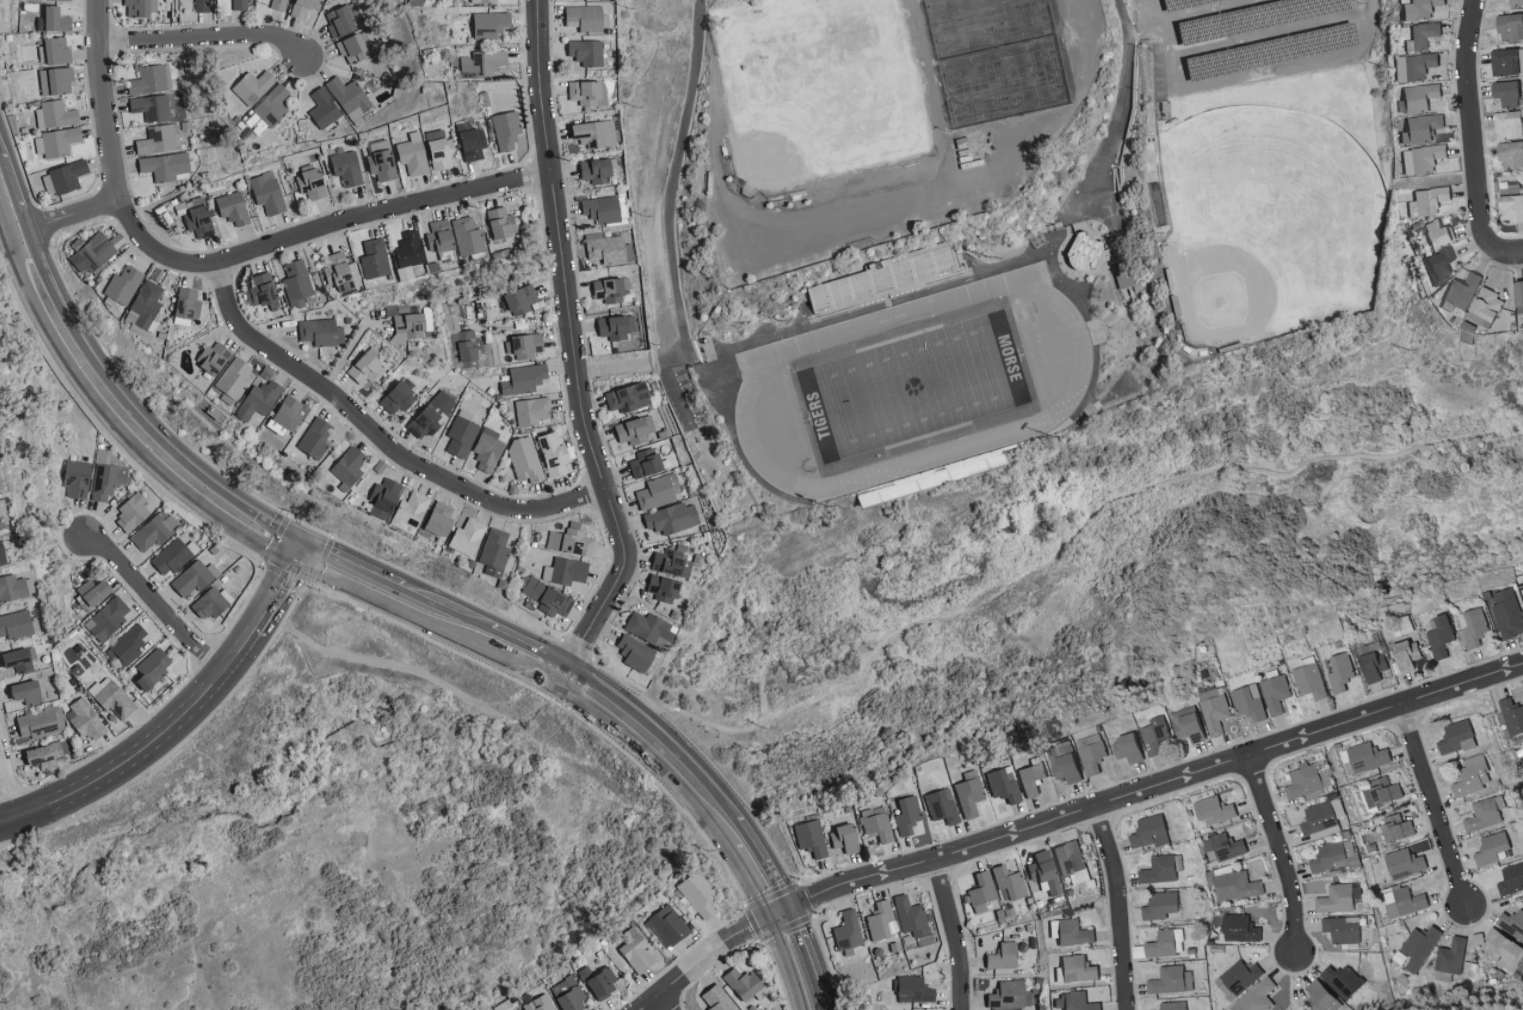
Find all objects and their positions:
building: (484, 1)
building: (1515, 2)
building: (239, 4)
building: (279, 4)
building: (202, 5)
road: (1370, 5)
building: (305, 6)
building: (141, 7)
building: (1418, 9)
building: (586, 18)
building: (57, 19)
building: (341, 21)
building: (491, 24)
building: (1509, 26)
building: (1423, 34)
road: (207, 36)
building: (354, 49)
building: (57, 50)
building: (587, 51)
building: (1503, 61)
building: (482, 63)
building: (1418, 65)
building: (149, 80)
building: (56, 81)
building: (253, 86)
park: (819, 91)
building: (588, 92)
building: (1505, 93)
building: (1417, 97)
building: (350, 99)
building: (273, 105)
road: (1121, 106)
building: (151, 107)
building: (323, 108)
building: (56, 114)
building: (1507, 124)
building: (1419, 128)
road: (1474, 128)
building: (506, 129)
building: (596, 133)
building: (159, 139)
building: (471, 139)
building: (56, 142)
building: (440, 149)
building: (413, 153)
building: (1509, 154)
building: (1421, 158)
building: (381, 160)
building: (165, 166)
building: (347, 167)
building: (597, 170)
building: (64, 178)
building: (312, 183)
building: (268, 192)
building: (1426, 201)
road: (8, 208)
building: (234, 208)
building: (1510, 208)
building: (601, 209)
road: (68, 215)
building: (196, 216)
road: (671, 218)
park: (1265, 220)
building: (501, 223)
building: (1434, 234)
building: (455, 238)
building: (605, 248)
building: (92, 252)
building: (409, 253)
building: (1085, 253)
road: (1508, 254)
road: (226, 257)
building: (374, 258)
building: (1437, 264)
building: (339, 272)
building: (1125, 279)
building: (297, 283)
building: (122, 287)
building: (610, 290)
building: (1461, 291)
building: (261, 292)
building: (1517, 299)
building: (520, 300)
building: (1484, 305)
building: (188, 306)
building: (145, 309)
building: (450, 318)
building: (410, 327)
building: (615, 327)
building: (321, 332)
building: (525, 346)
road: (348, 348)
building: (468, 348)
road: (574, 354)
building: (214, 357)
building: (484, 360)
road: (624, 364)
building: (367, 368)
building: (234, 377)
building: (524, 379)
track: (754, 382)
park: (913, 387)
building: (399, 397)
building: (630, 397)
building: (259, 399)
building: (532, 411)
road: (132, 412)
building: (287, 415)
building: (432, 415)
road: (115, 428)
road: (368, 429)
building: (635, 430)
building: (462, 434)
building: (316, 438)
building: (488, 450)
building: (554, 453)
building: (525, 459)
building: (646, 463)
building: (350, 466)
building: (77, 478)
building: (108, 480)
building: (1, 484)
building: (659, 492)
building: (385, 497)
building: (411, 511)
building: (132, 512)
building: (673, 518)
building: (441, 520)
building: (154, 531)
building: (468, 538)
building: (571, 540)
road: (1064, 545)
road: (298, 551)
building: (495, 552)
building: (3, 553)
building: (171, 557)
road: (352, 563)
building: (673, 563)
building: (566, 571)
building: (192, 579)
building: (14, 588)
building: (669, 588)
building: (96, 591)
building: (546, 596)
road: (275, 597)
road: (153, 603)
building: (212, 603)
road: (388, 606)
building: (1508, 613)
building: (108, 619)
building: (16, 624)
building: (650, 627)
building: (1472, 628)
building: (1440, 637)
building: (127, 647)
building: (636, 653)
building: (1405, 655)
building: (19, 660)
building: (1374, 666)
building: (154, 668)
road: (522, 668)
building: (1342, 674)
building: (1311, 682)
building: (28, 692)
building: (1276, 694)
building: (113, 698)
building: (1250, 703)
road: (629, 709)
building: (1216, 715)
building: (1511, 716)
building: (86, 719)
building: (41, 723)
building: (1190, 725)
building: (1157, 737)
building: (1455, 738)
building: (1131, 749)
road: (144, 751)
building: (48, 755)
building: (1093, 755)
building: (1365, 758)
road: (653, 760)
building: (1069, 768)
road: (12, 775)
building: (1471, 777)
building: (1033, 779)
building: (1305, 781)
building: (1004, 785)
building: (1386, 791)
building: (970, 794)
building: (943, 806)
building: (1218, 809)
road: (1434, 810)
building: (1484, 814)
building: (907, 816)
road: (1069, 819)
building: (1323, 819)
building: (876, 823)
building: (1400, 829)
building: (1151, 832)
building: (811, 838)
building: (846, 838)
building: (1228, 845)
building: (1490, 849)
road: (1281, 857)
building: (1072, 862)
building: (1407, 863)
building: (1163, 870)
building: (1045, 873)
building: (1511, 879)
building: (1009, 882)
road: (751, 883)
building: (1235, 885)
building: (981, 892)
building: (699, 894)
building: (1339, 900)
building: (1407, 903)
building: (1162, 906)
road: (1120, 909)
building: (911, 916)
building: (880, 921)
building: (1511, 923)
building: (666, 927)
building: (1242, 929)
building: (1344, 930)
building: (848, 932)
building: (1072, 932)
road: (953, 934)
building: (1166, 944)
building: (1421, 947)
building: (1502, 950)
building: (637, 951)
building: (1005, 956)
building: (1451, 957)
road: (810, 958)
building: (1024, 961)
road: (788, 964)
building: (1077, 970)
building: (1243, 977)
building: (1173, 981)
building: (599, 982)
building: (1345, 982)
building: (743, 983)
building: (915, 990)
building: (569, 994)
building: (1010, 995)
building: (1259, 997)
building: (1324, 997)
building: (1075, 1002)
building: (541, 1003)
road: (662, 1004)
building: (1174, 1006)
road: (826, 1009)

